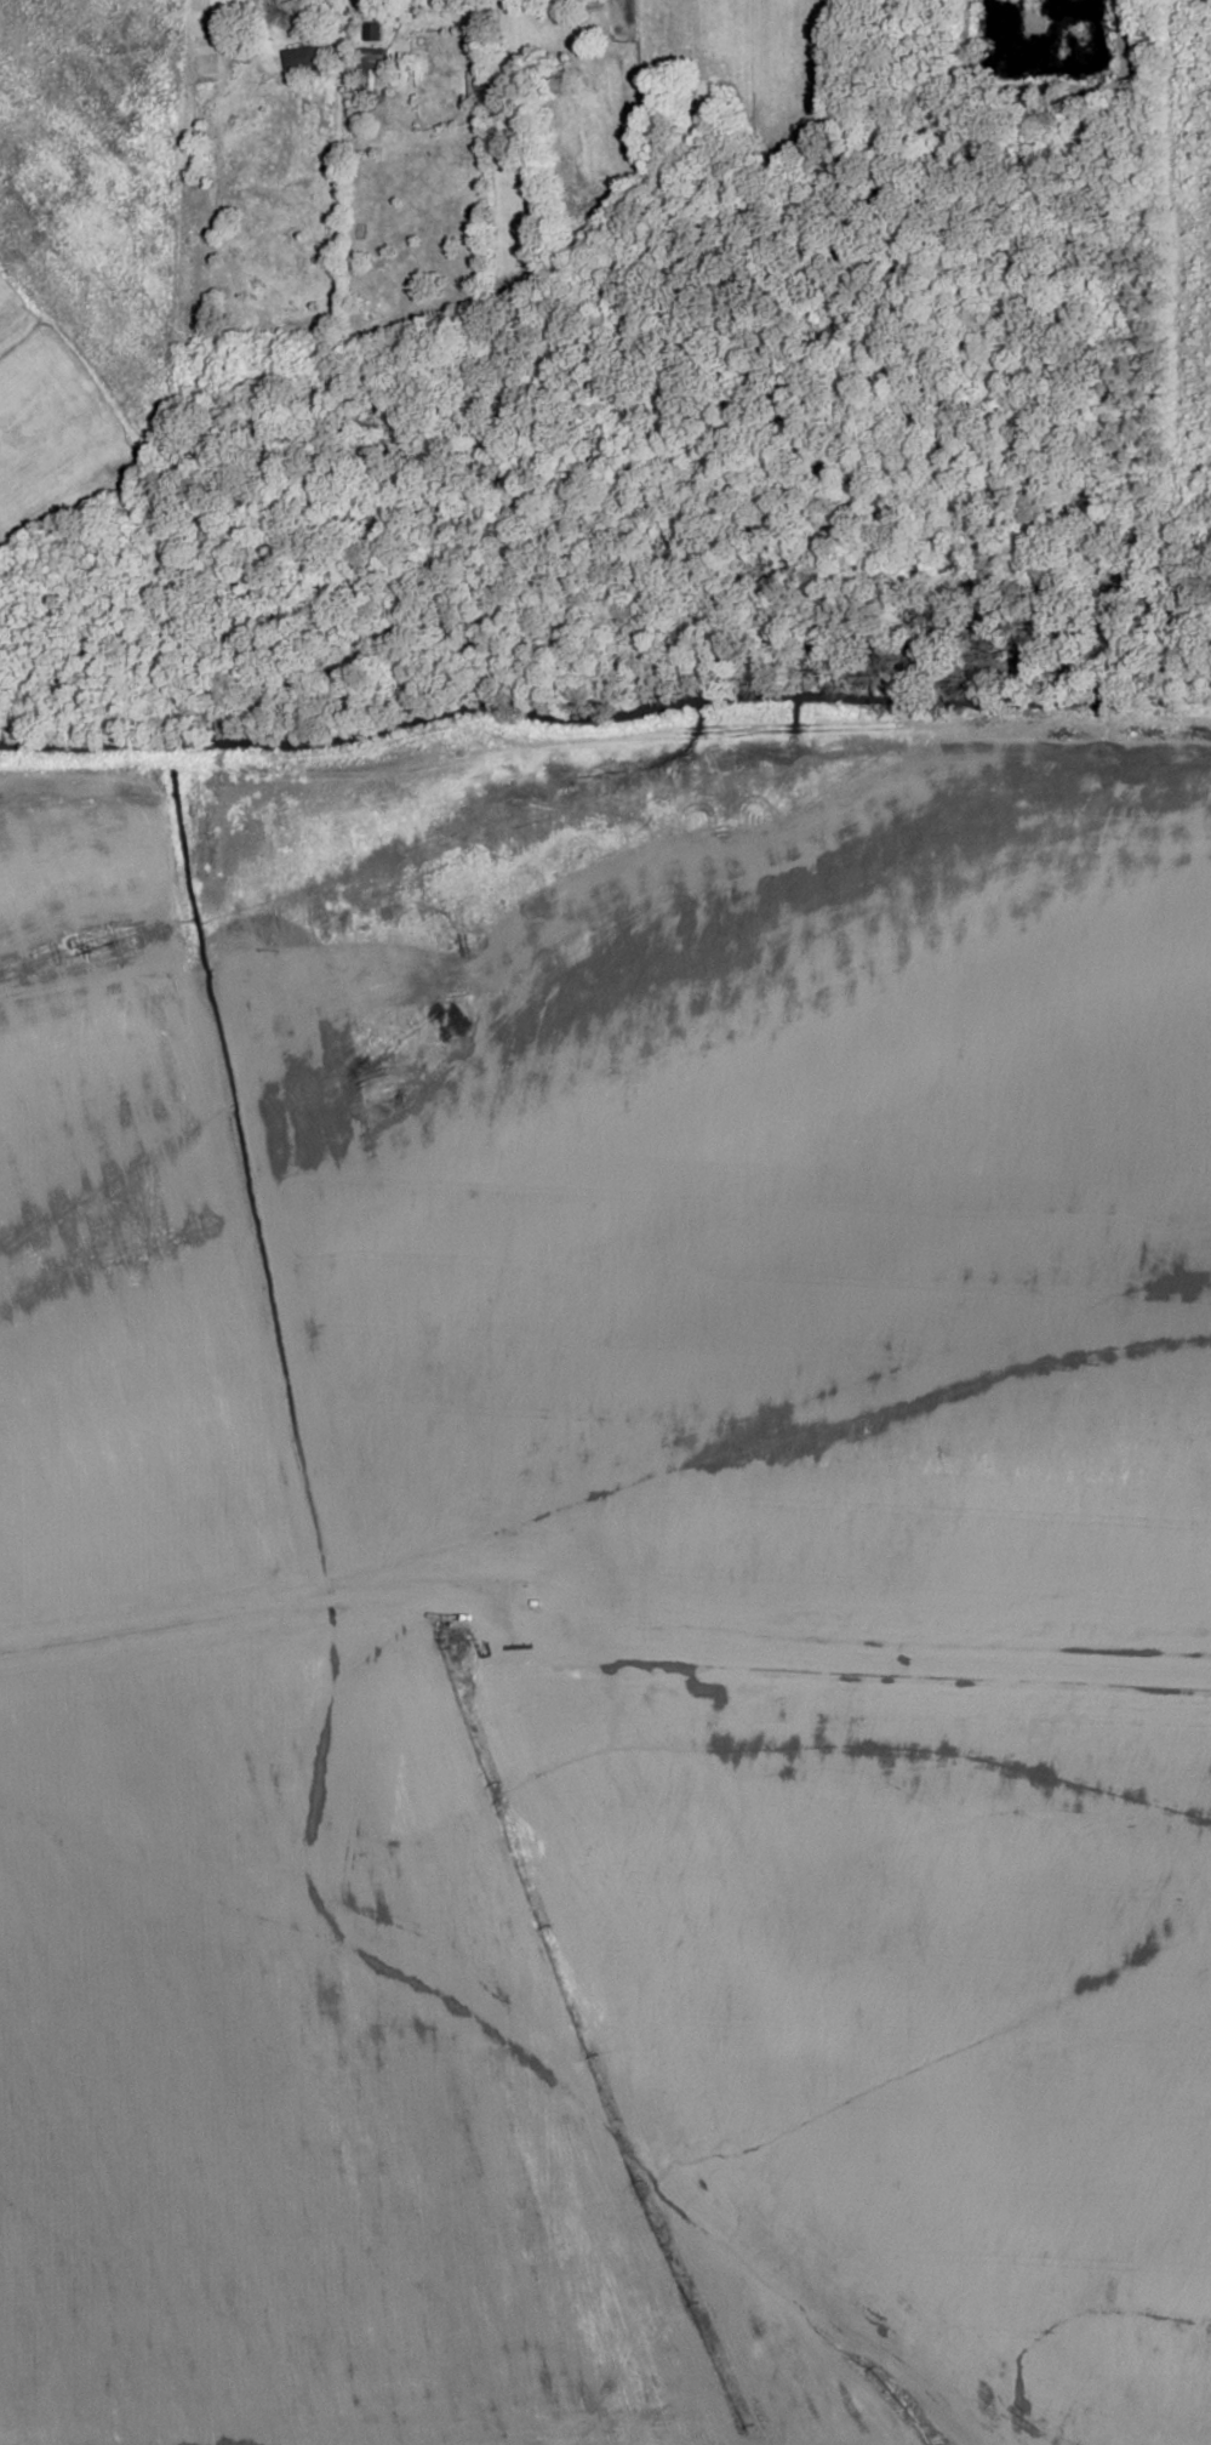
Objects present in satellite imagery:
road: (249, 13)
building: (301, 57)
building: (372, 58)
road: (596, 1646)

